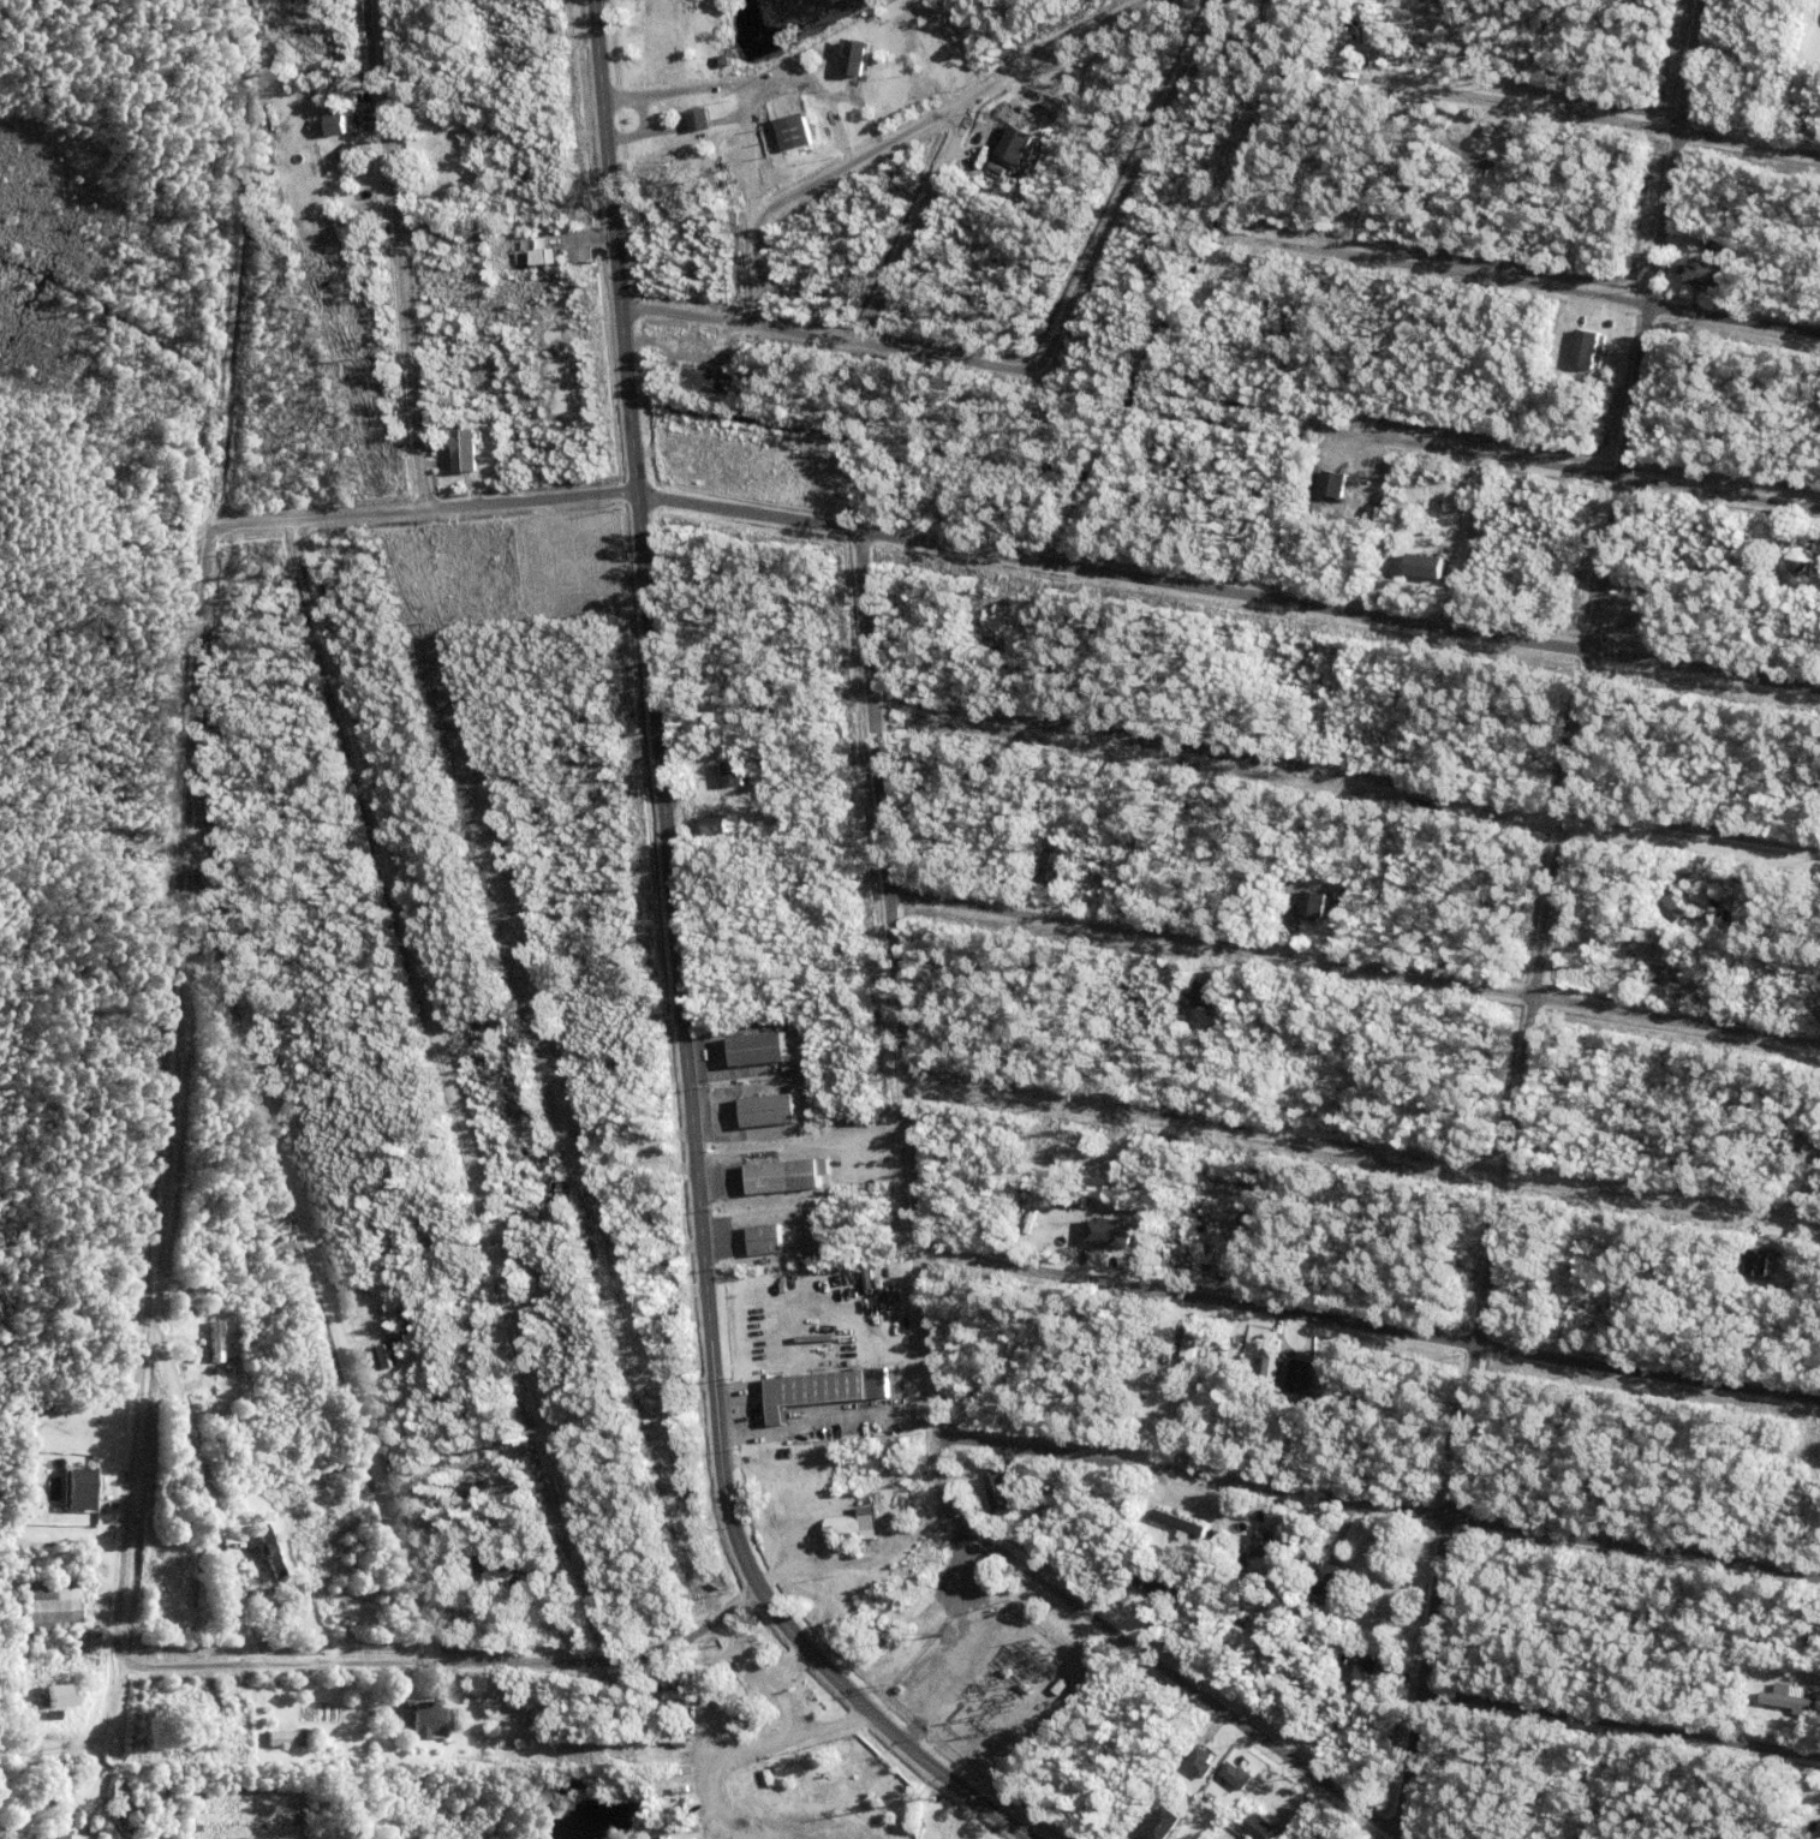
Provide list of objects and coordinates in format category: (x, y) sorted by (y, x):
building: (1388, 29)
building: (1372, 37)
building: (1401, 54)
building: (723, 64)
building: (859, 64)
building: (705, 65)
building: (690, 68)
road: (967, 106)
building: (1812, 115)
building: (1020, 120)
road: (1601, 121)
building: (700, 124)
building: (332, 125)
building: (1491, 135)
building: (1514, 136)
building: (796, 138)
building: (323, 141)
building: (1018, 150)
building: (350, 156)
building: (1002, 178)
road: (1130, 187)
road: (917, 226)
building: (1717, 240)
road: (406, 257)
building: (535, 258)
road: (768, 273)
building: (692, 276)
building: (1701, 281)
road: (1521, 285)
building: (1599, 316)
building: (1611, 324)
road: (232, 338)
road: (836, 341)
building: (1497, 346)
building: (1587, 346)
building: (705, 388)
building: (467, 447)
building: (1374, 460)
building: (488, 467)
road: (1583, 472)
building: (1360, 483)
building: (1330, 484)
building: (1366, 506)
building: (1461, 523)
building: (1689, 523)
building: (1732, 533)
building: (1703, 541)
building: (1806, 554)
road: (1020, 557)
building: (1275, 561)
building: (1420, 567)
building: (1335, 645)
building: (1295, 653)
building: (1307, 659)
building: (1282, 671)
building: (1303, 675)
building: (1312, 691)
building: (1116, 699)
building: (738, 770)
building: (728, 775)
building: (1204, 784)
road: (1348, 789)
road: (669, 799)
building: (716, 823)
building: (1055, 865)
building: (1111, 873)
building: (1331, 878)
building: (1315, 896)
building: (1676, 907)
building: (1300, 909)
road: (1552, 919)
road: (1356, 966)
building: (1657, 973)
building: (1200, 995)
building: (1215, 1010)
building: (118, 1041)
building: (760, 1047)
building: (769, 1069)
road: (458, 1092)
road: (157, 1098)
building: (769, 1109)
building: (654, 1138)
building: (1030, 1144)
road: (1362, 1147)
building: (1819, 1170)
building: (784, 1176)
building: (620, 1183)
building: (1030, 1187)
building: (1091, 1196)
building: (1068, 1211)
building: (1042, 1217)
road: (306, 1222)
building: (226, 1226)
building: (580, 1230)
building: (426, 1231)
building: (1111, 1231)
building: (766, 1240)
building: (365, 1247)
building: (275, 1248)
building: (1774, 1250)
building: (1758, 1262)
building: (643, 1268)
building: (547, 1279)
building: (189, 1290)
building: (554, 1295)
building: (650, 1297)
road: (924, 1298)
building: (219, 1312)
building: (387, 1316)
building: (651, 1322)
road: (1370, 1322)
building: (416, 1335)
building: (215, 1342)
building: (1191, 1350)
building: (1327, 1351)
building: (387, 1357)
building: (1267, 1367)
building: (1158, 1368)
building: (901, 1372)
building: (878, 1373)
building: (1306, 1375)
building: (897, 1384)
building: (243, 1390)
building: (817, 1391)
building: (897, 1392)
building: (221, 1420)
building: (1255, 1422)
building: (1326, 1429)
building: (55, 1456)
building: (1801, 1463)
building: (108, 1487)
building: (1043, 1487)
building: (993, 1488)
building: (78, 1489)
road: (199, 1491)
building: (469, 1492)
road: (1379, 1497)
building: (1182, 1524)
building: (855, 1528)
building: (1266, 1545)
building: (268, 1551)
building: (548, 1552)
building: (1192, 1562)
building: (1370, 1563)
building: (1330, 1571)
building: (502, 1572)
building: (1348, 1572)
building: (1151, 1583)
building: (1134, 1593)
building: (282, 1594)
building: (46, 1600)
building: (94, 1625)
building: (1380, 1637)
building: (78, 1642)
road: (452, 1660)
building: (1357, 1670)
building: (1768, 1674)
building: (1062, 1688)
building: (730, 1695)
building: (56, 1696)
building: (1790, 1703)
building: (26, 1713)
building: (729, 1715)
building: (169, 1720)
building: (424, 1720)
road: (1621, 1720)
building: (243, 1722)
building: (225, 1724)
building: (750, 1724)
building: (208, 1726)
road: (882, 1728)
building: (192, 1736)
building: (386, 1737)
building: (286, 1739)
building: (204, 1756)
building: (1200, 1765)
building: (1237, 1777)
building: (124, 1803)
building: (1314, 1811)
building: (71, 1819)
building: (1162, 1825)
building: (1260, 1828)
building: (90, 1832)
building: (1804, 1834)
building: (666, 1835)
building: (49, 1837)
building: (82, 1838)

